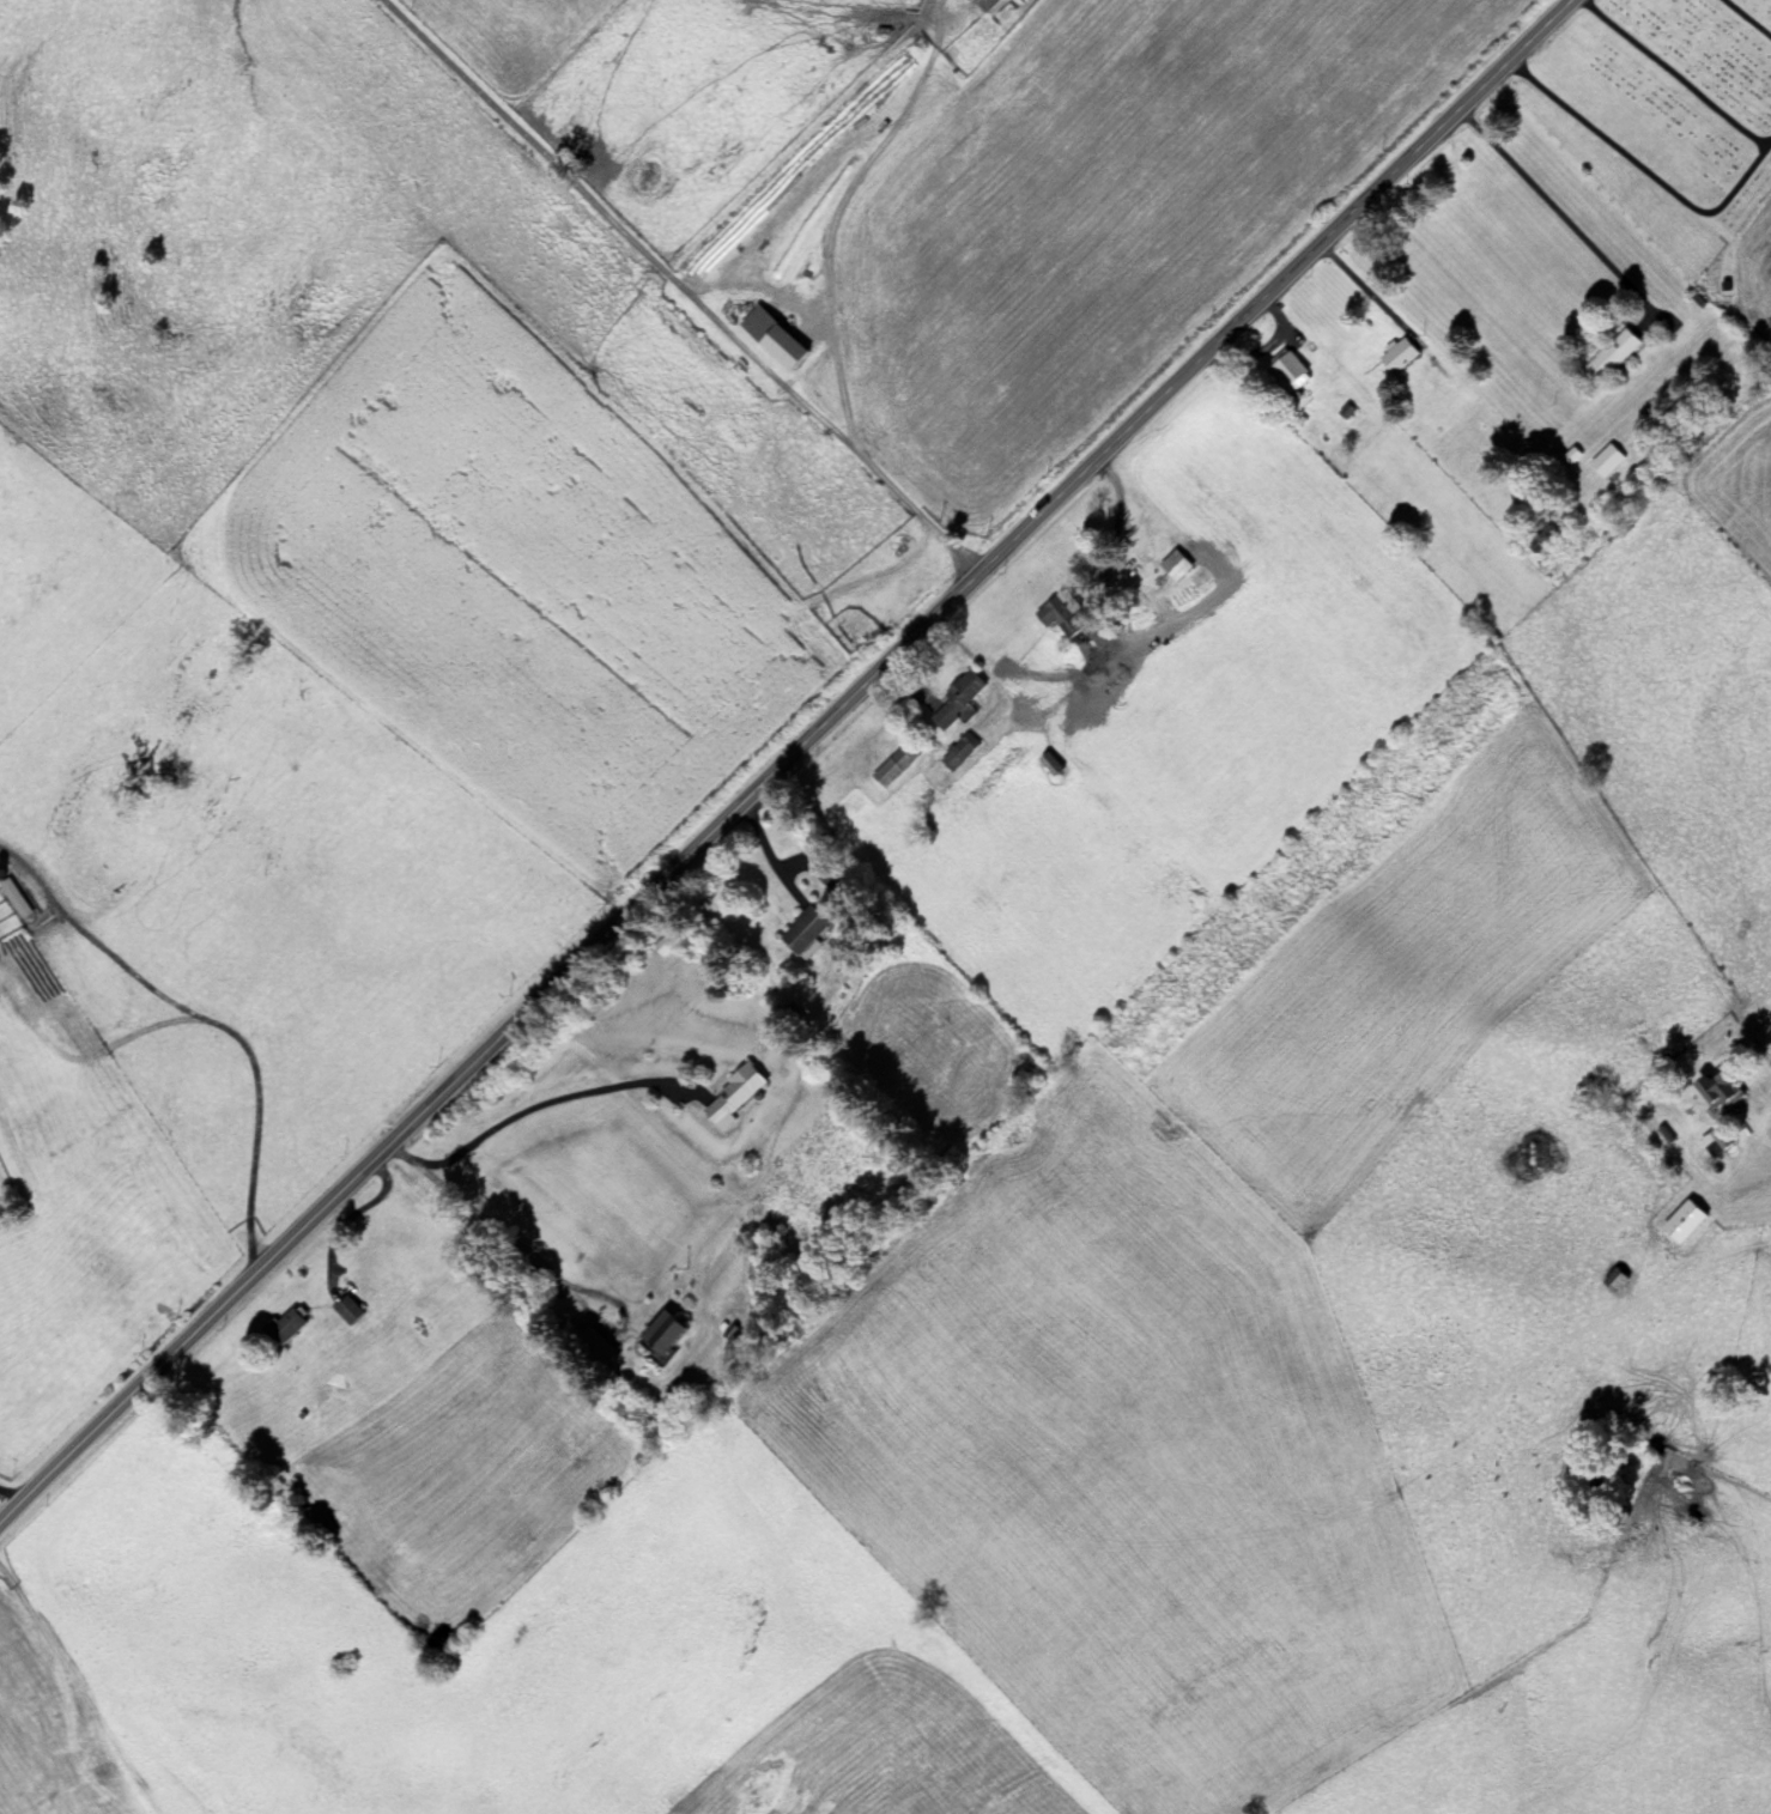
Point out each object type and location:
building: (987, 6)
road: (1748, 17)
road: (1674, 73)
park: (1662, 115)
road: (1644, 169)
road: (680, 287)
building: (776, 344)
building: (1397, 357)
building: (1609, 358)
building: (1288, 371)
building: (1605, 462)
building: (1176, 565)
building: (1059, 613)
building: (957, 698)
building: (957, 753)
road: (787, 760)
building: (1049, 764)
building: (893, 765)
building: (13, 900)
building: (805, 934)
building: (1718, 1092)
building: (732, 1097)
building: (1666, 1132)
building: (1723, 1142)
building: (1690, 1225)
building: (346, 1312)
building: (284, 1328)
building: (661, 1334)

